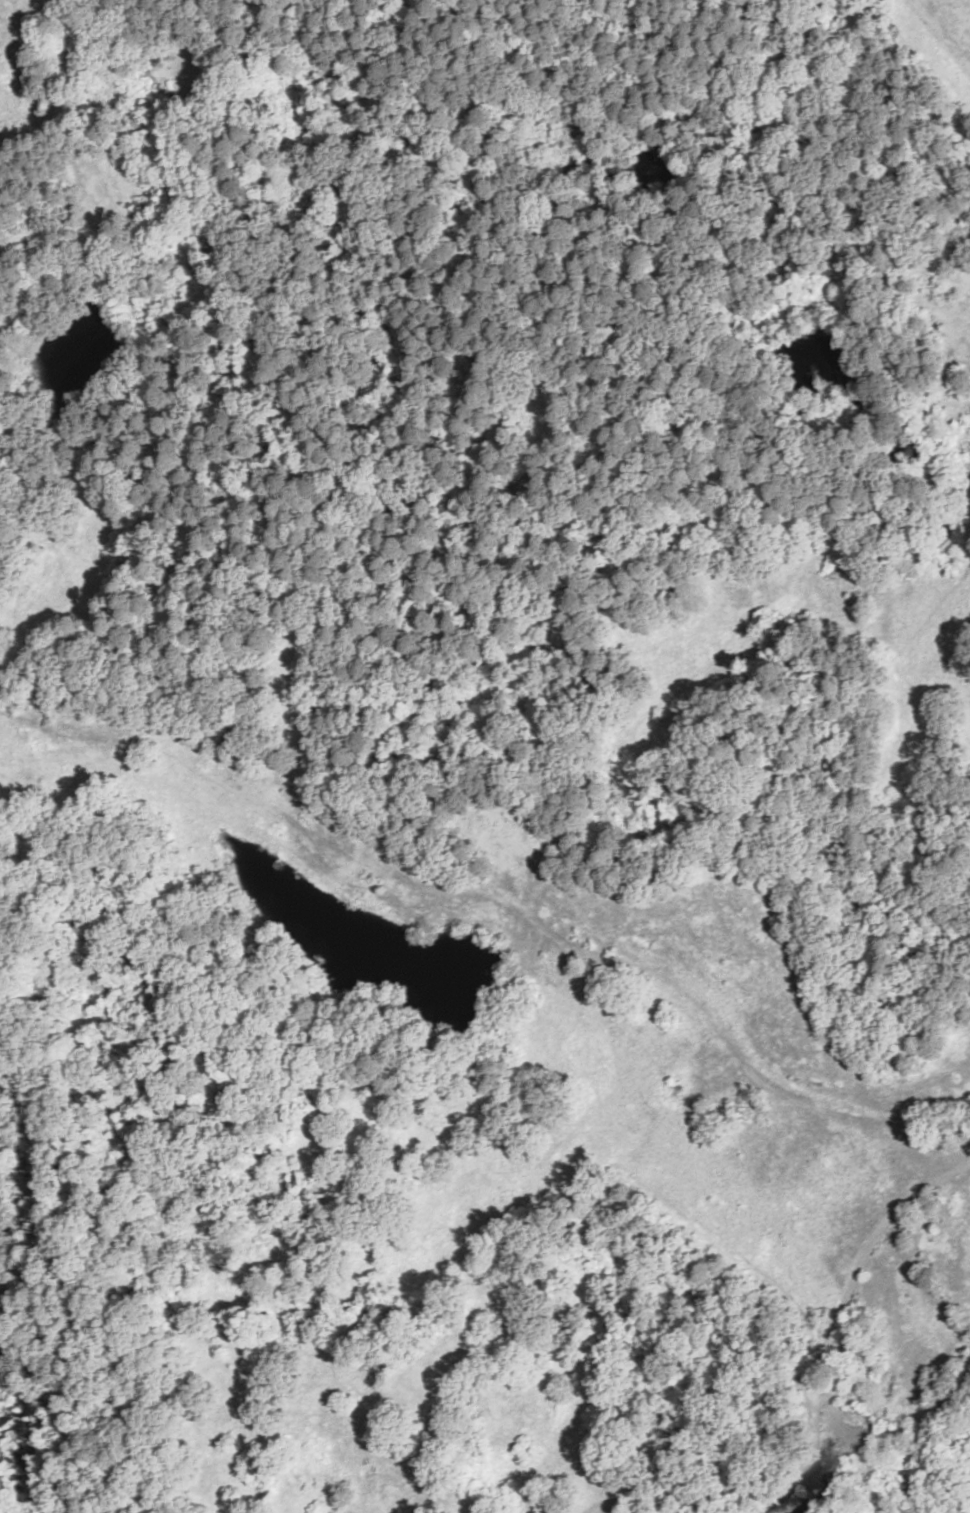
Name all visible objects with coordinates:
road: (13, 627)
road: (774, 1332)

